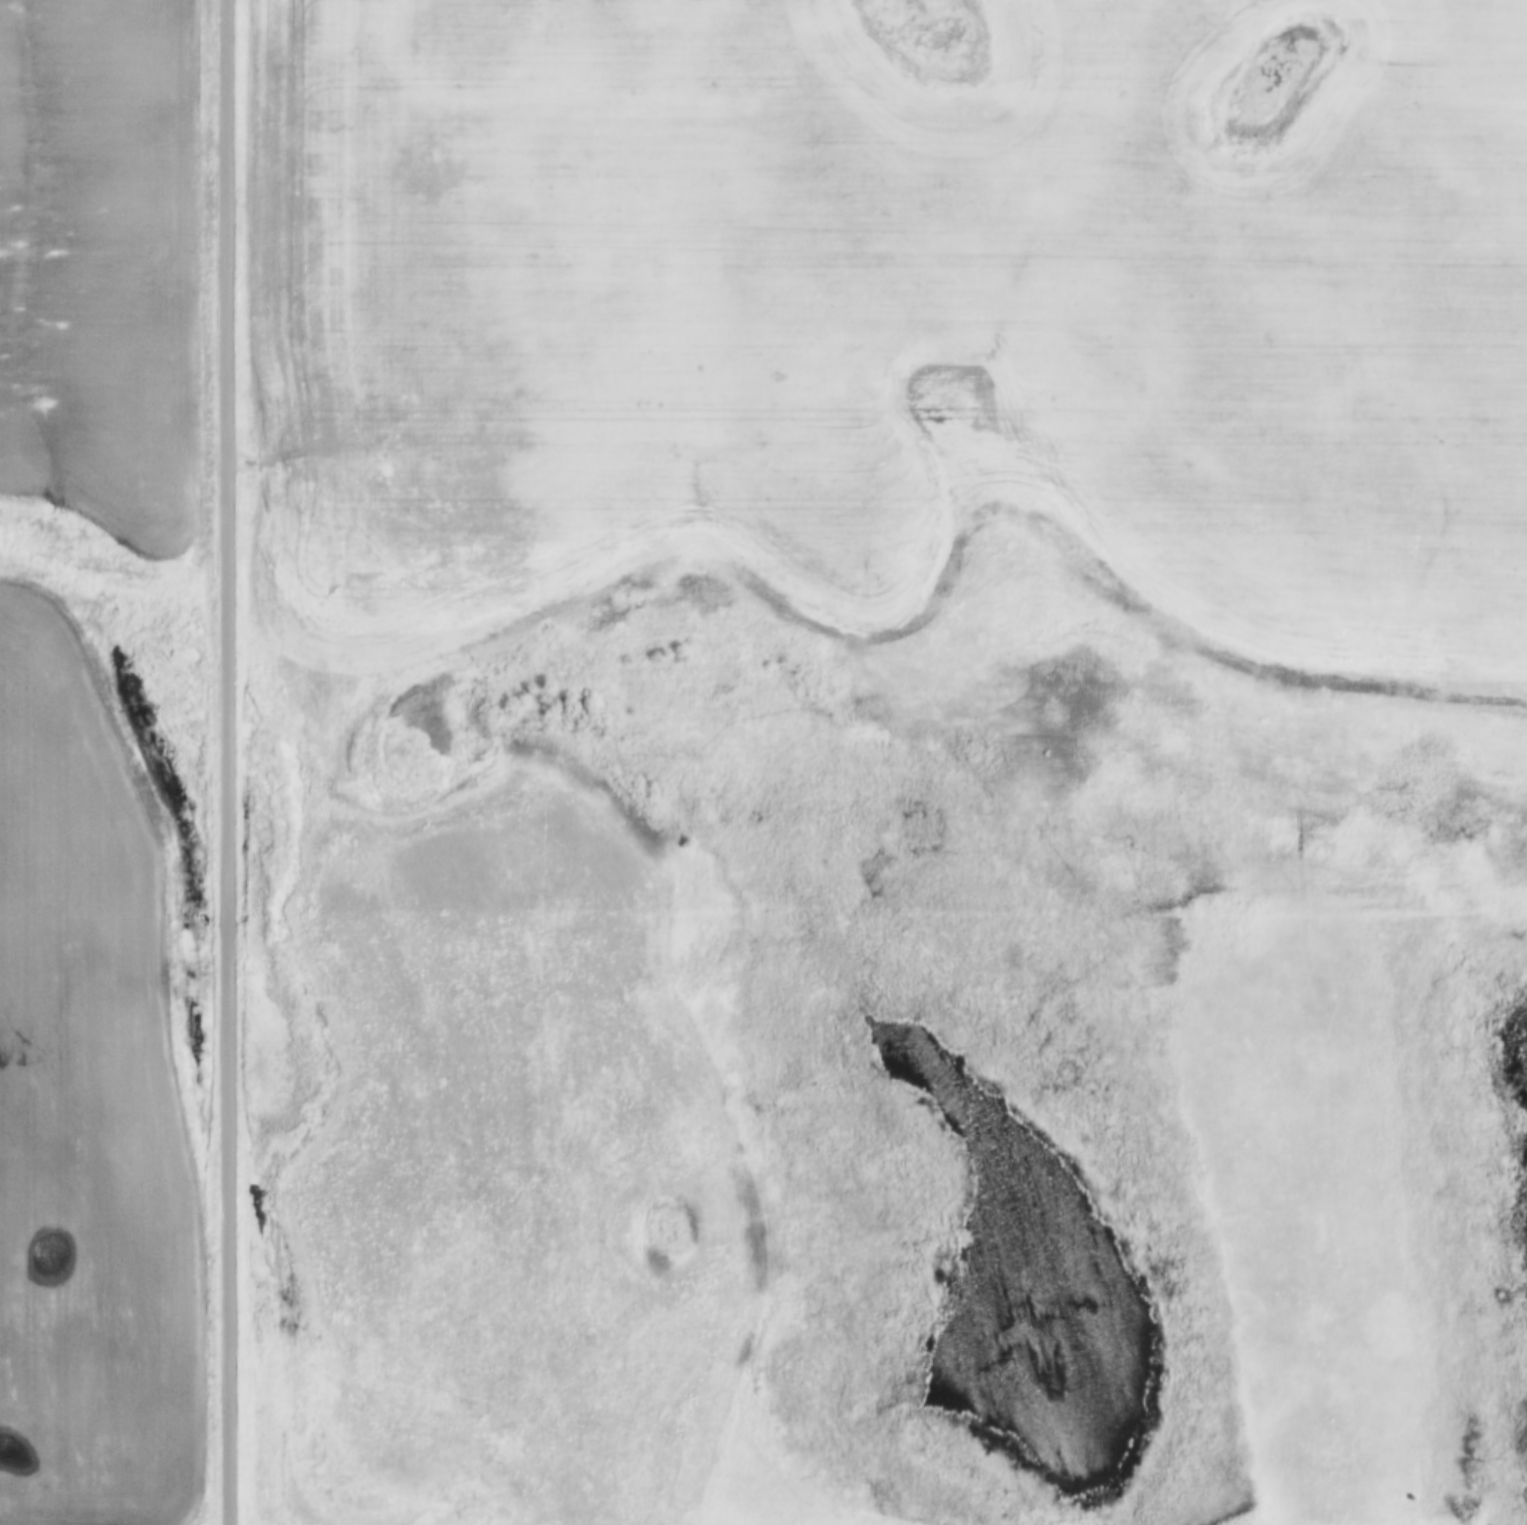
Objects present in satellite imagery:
road: (226, 762)

